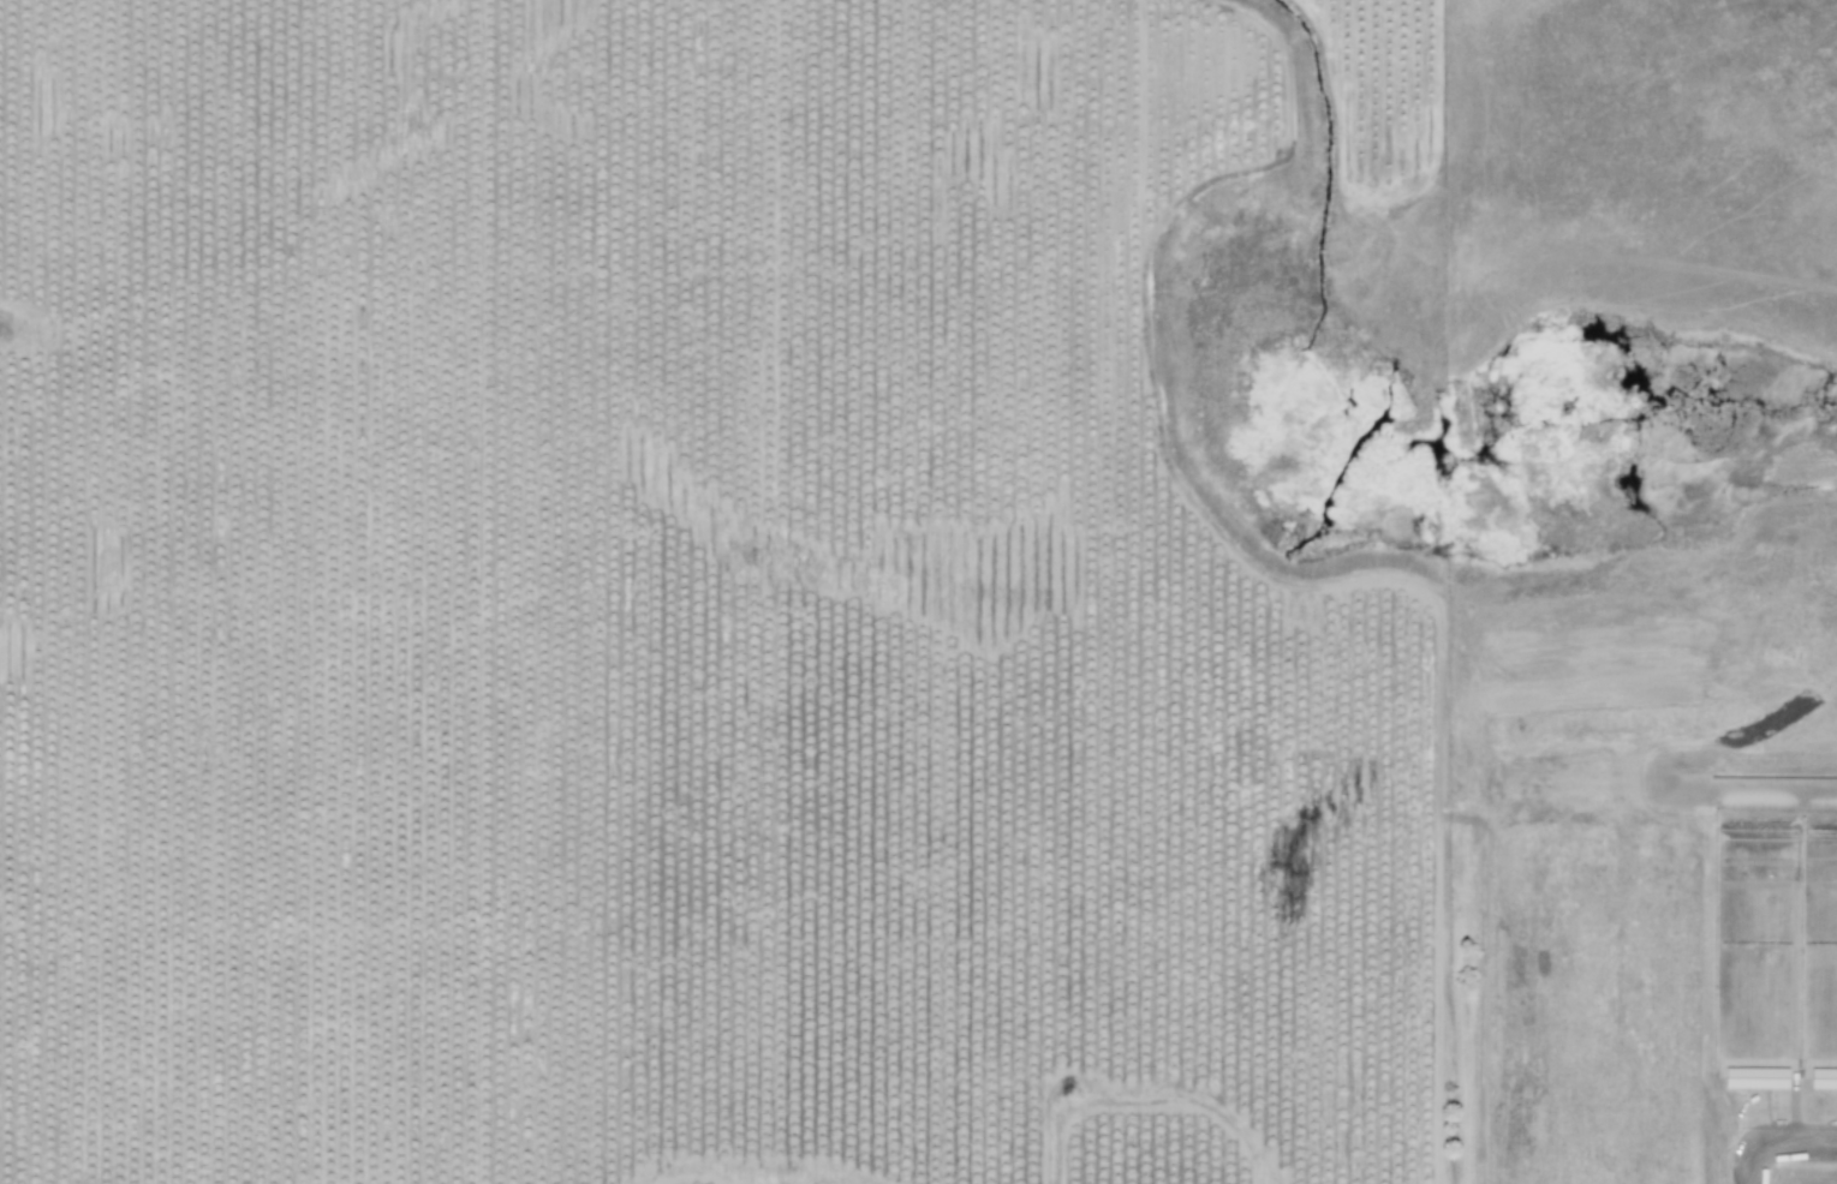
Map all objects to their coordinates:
road: (1665, 814)
road: (1480, 1003)
building: (1735, 1076)
building: (1771, 1077)
road: (1777, 1141)

